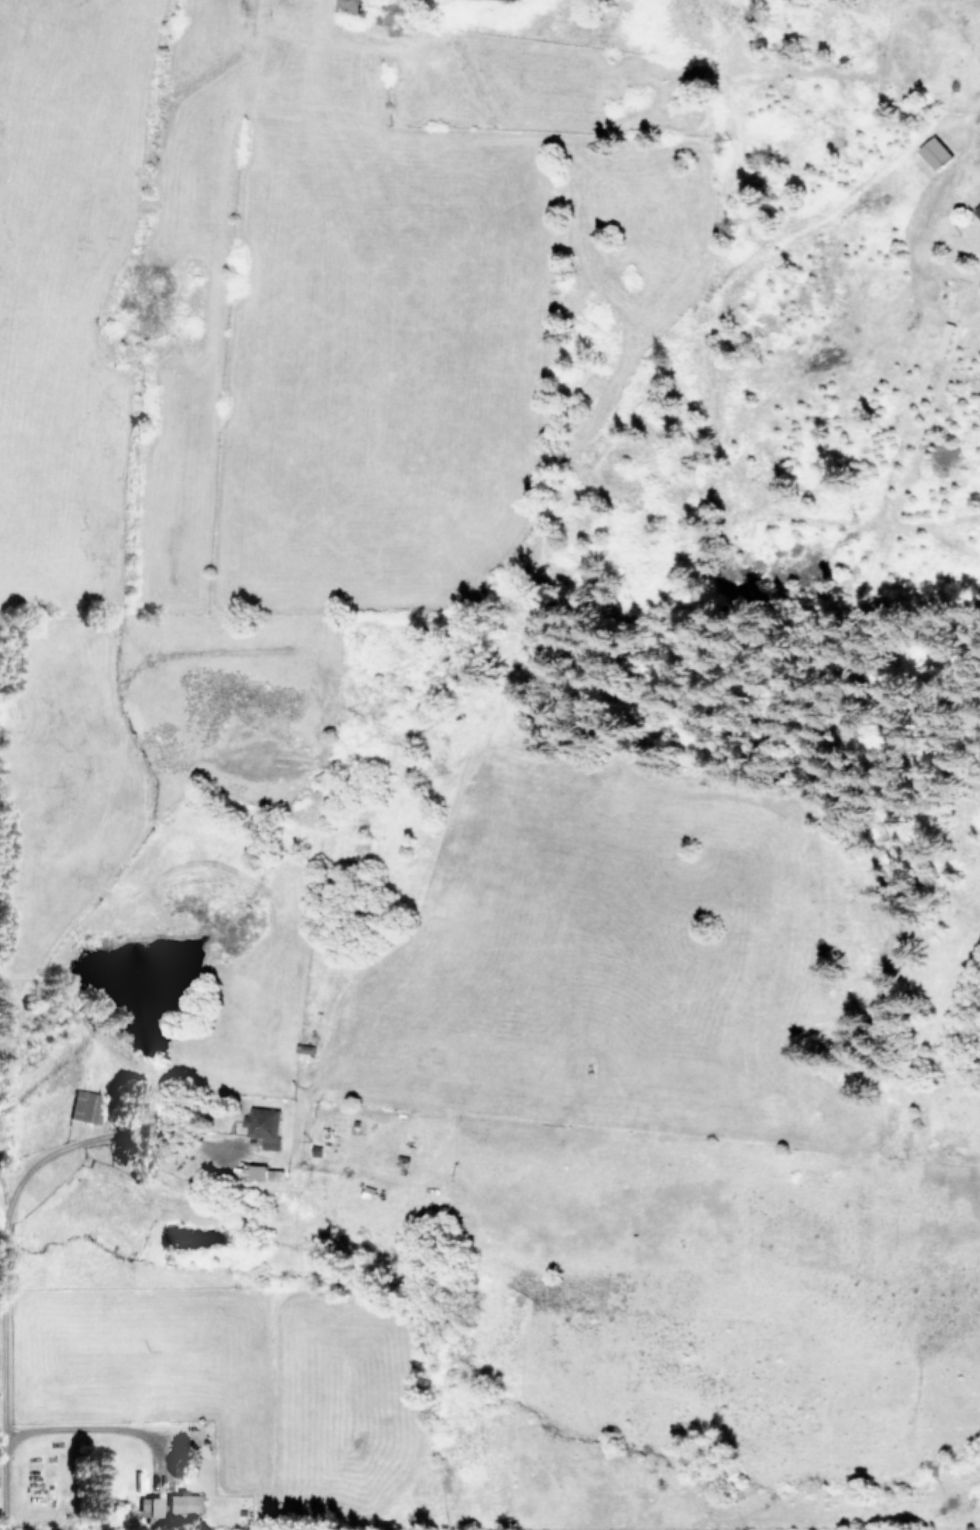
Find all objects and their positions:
building: (933, 151)
building: (977, 210)
building: (86, 1105)
building: (262, 1125)
road: (82, 1138)
building: (263, 1172)
road: (2, 1206)
road: (5, 1373)
road: (103, 1428)
building: (184, 1502)
building: (149, 1506)

